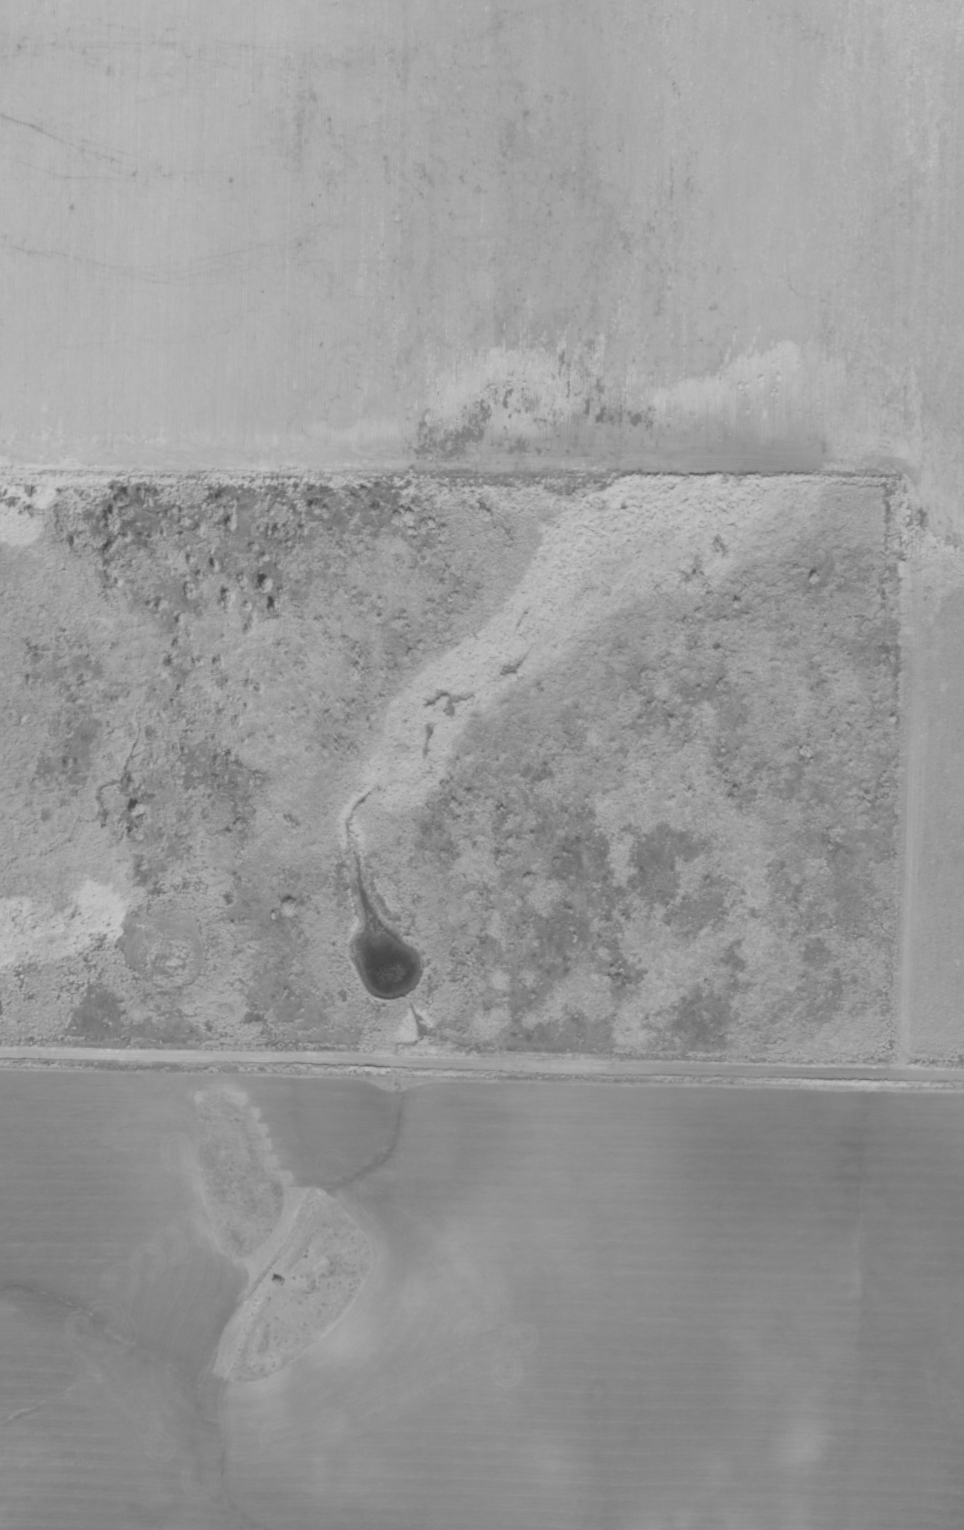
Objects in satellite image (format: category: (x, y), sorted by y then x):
road: (482, 1060)

